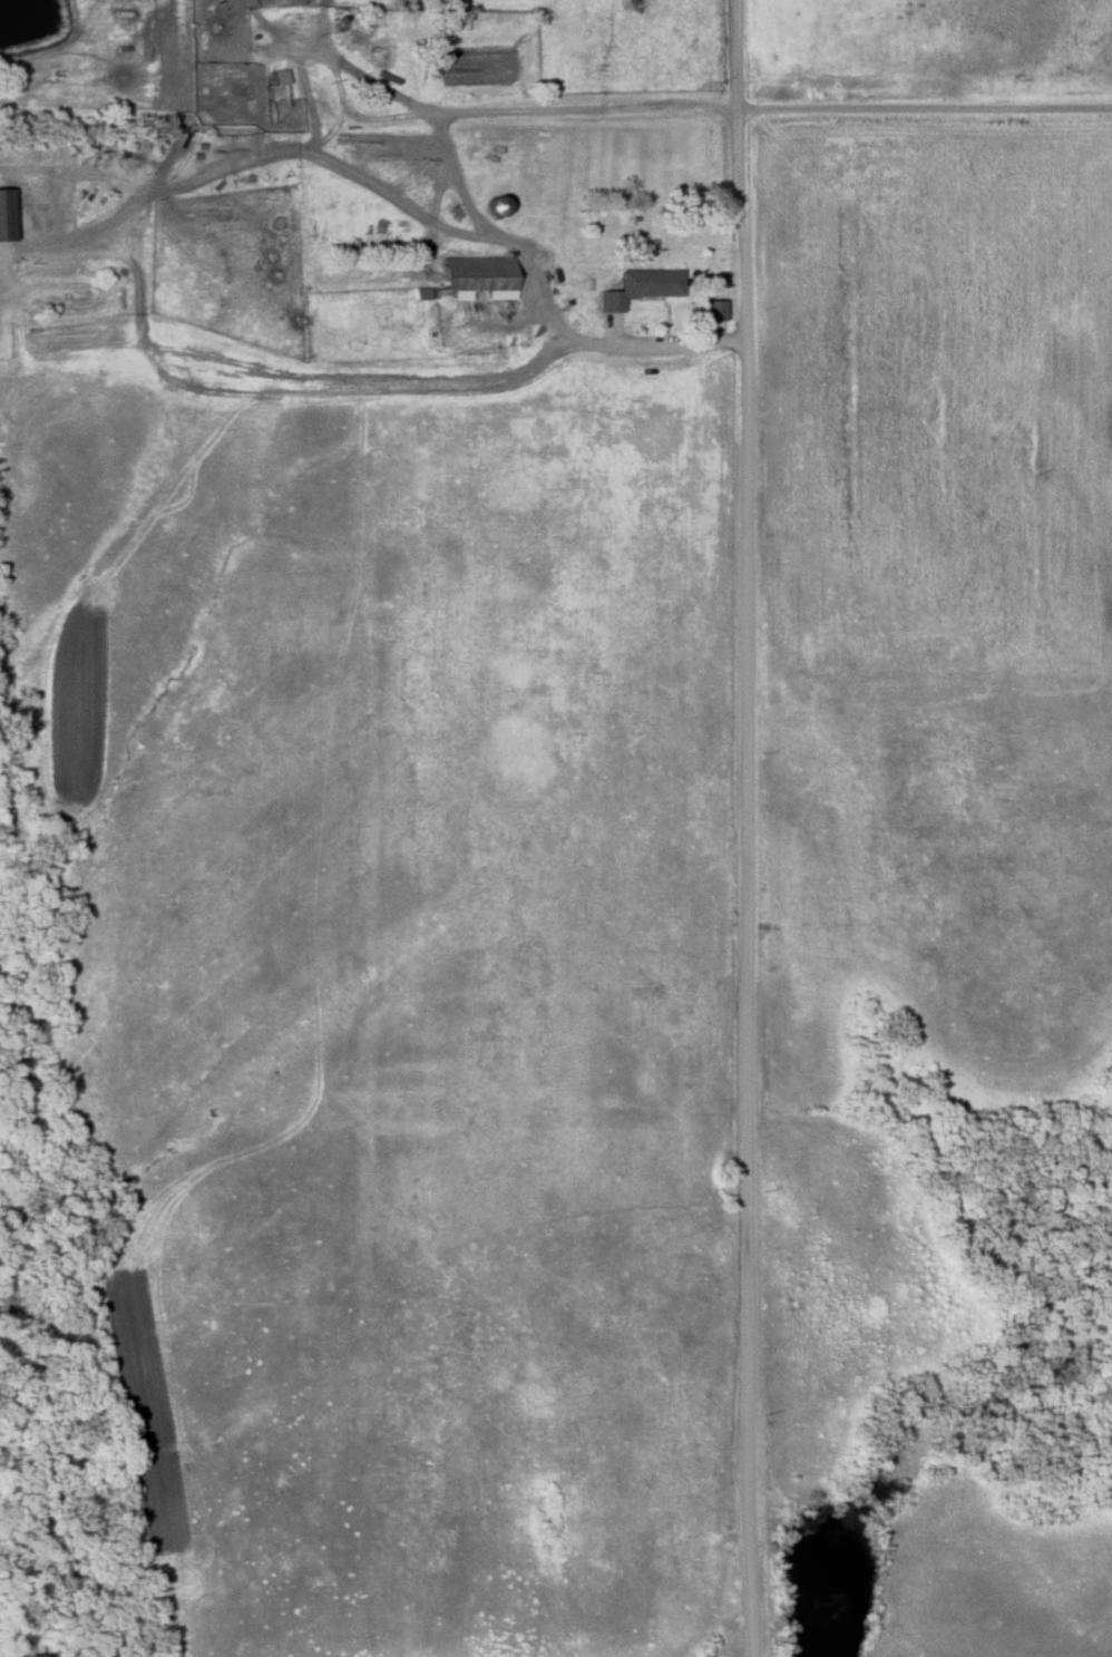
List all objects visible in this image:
building: (226, 45)
building: (272, 78)
road: (924, 106)
road: (485, 110)
road: (254, 147)
building: (485, 207)
building: (2, 215)
building: (469, 276)
road: (548, 286)
building: (632, 287)
road: (739, 828)

